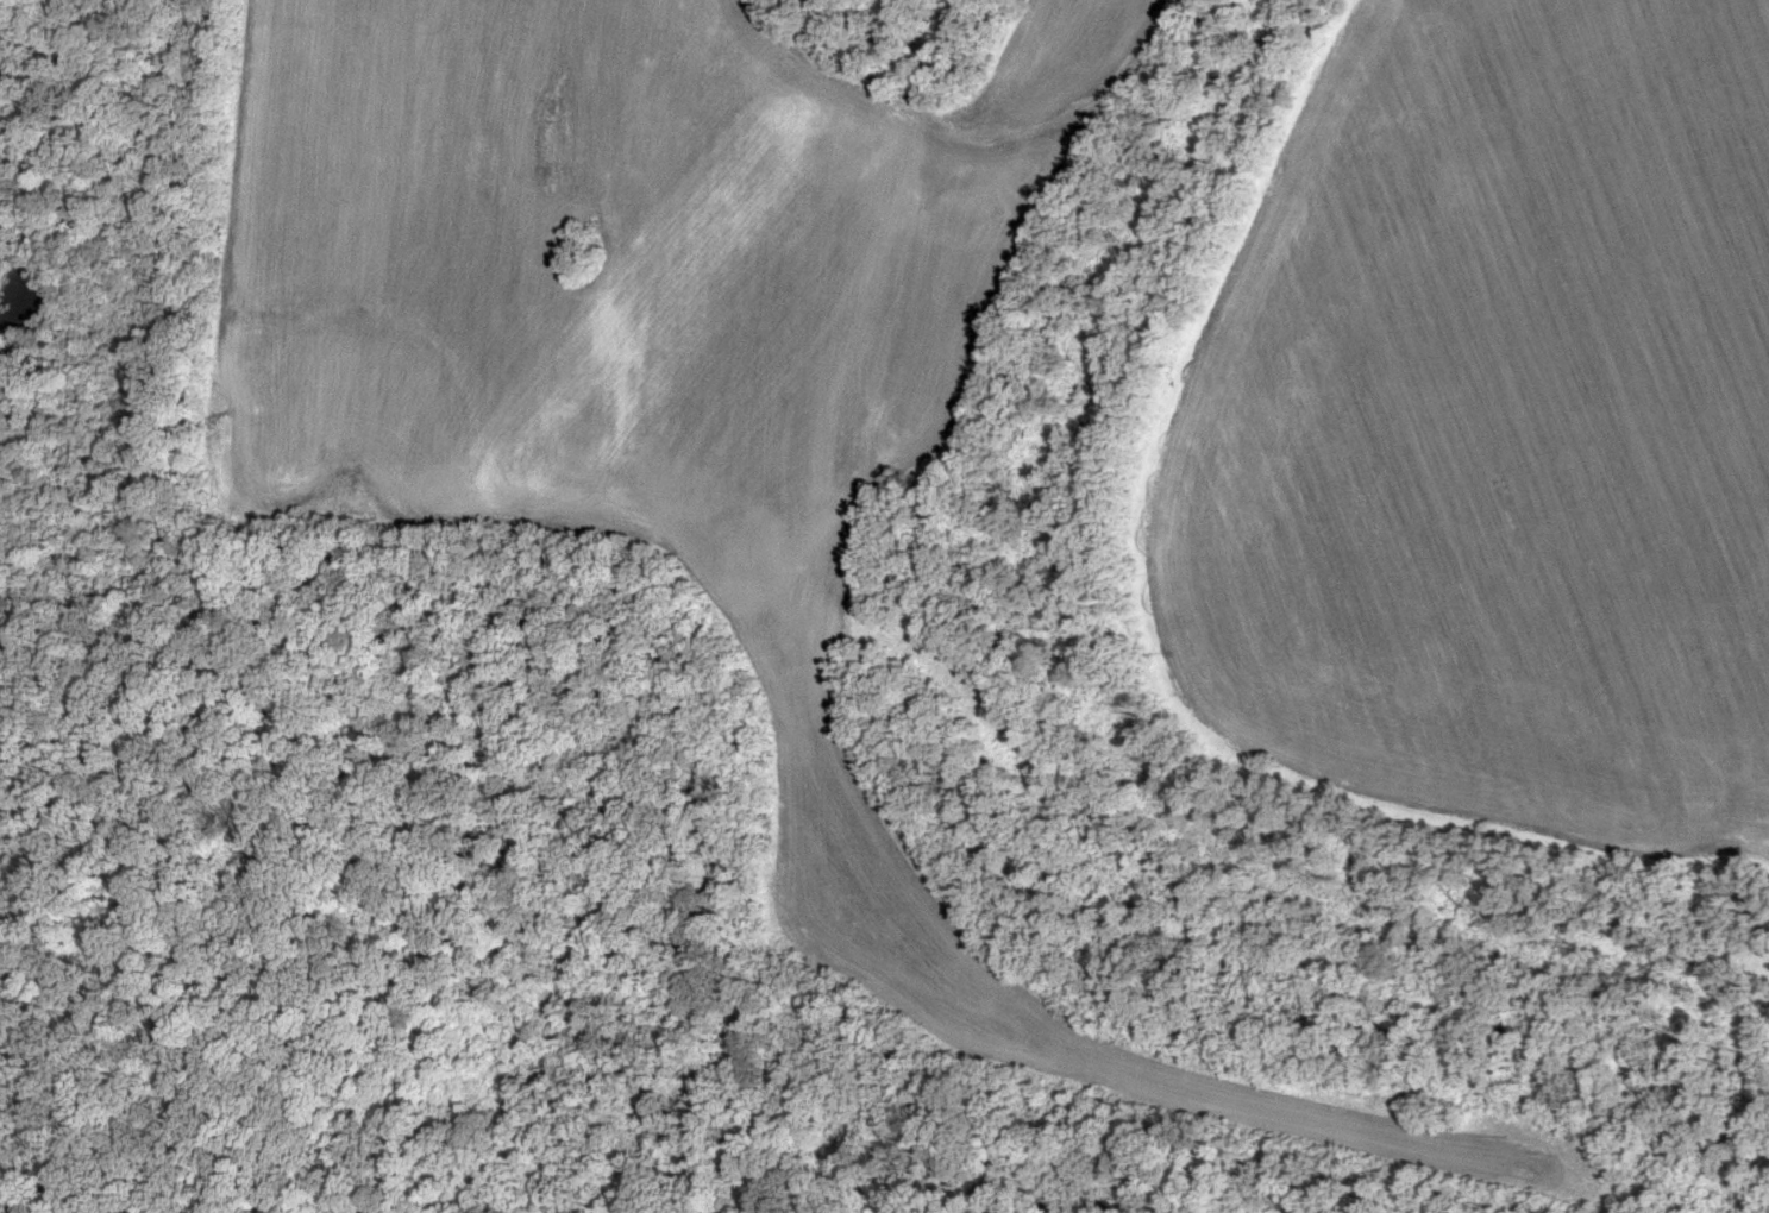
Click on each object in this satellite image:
road: (32, 1161)

